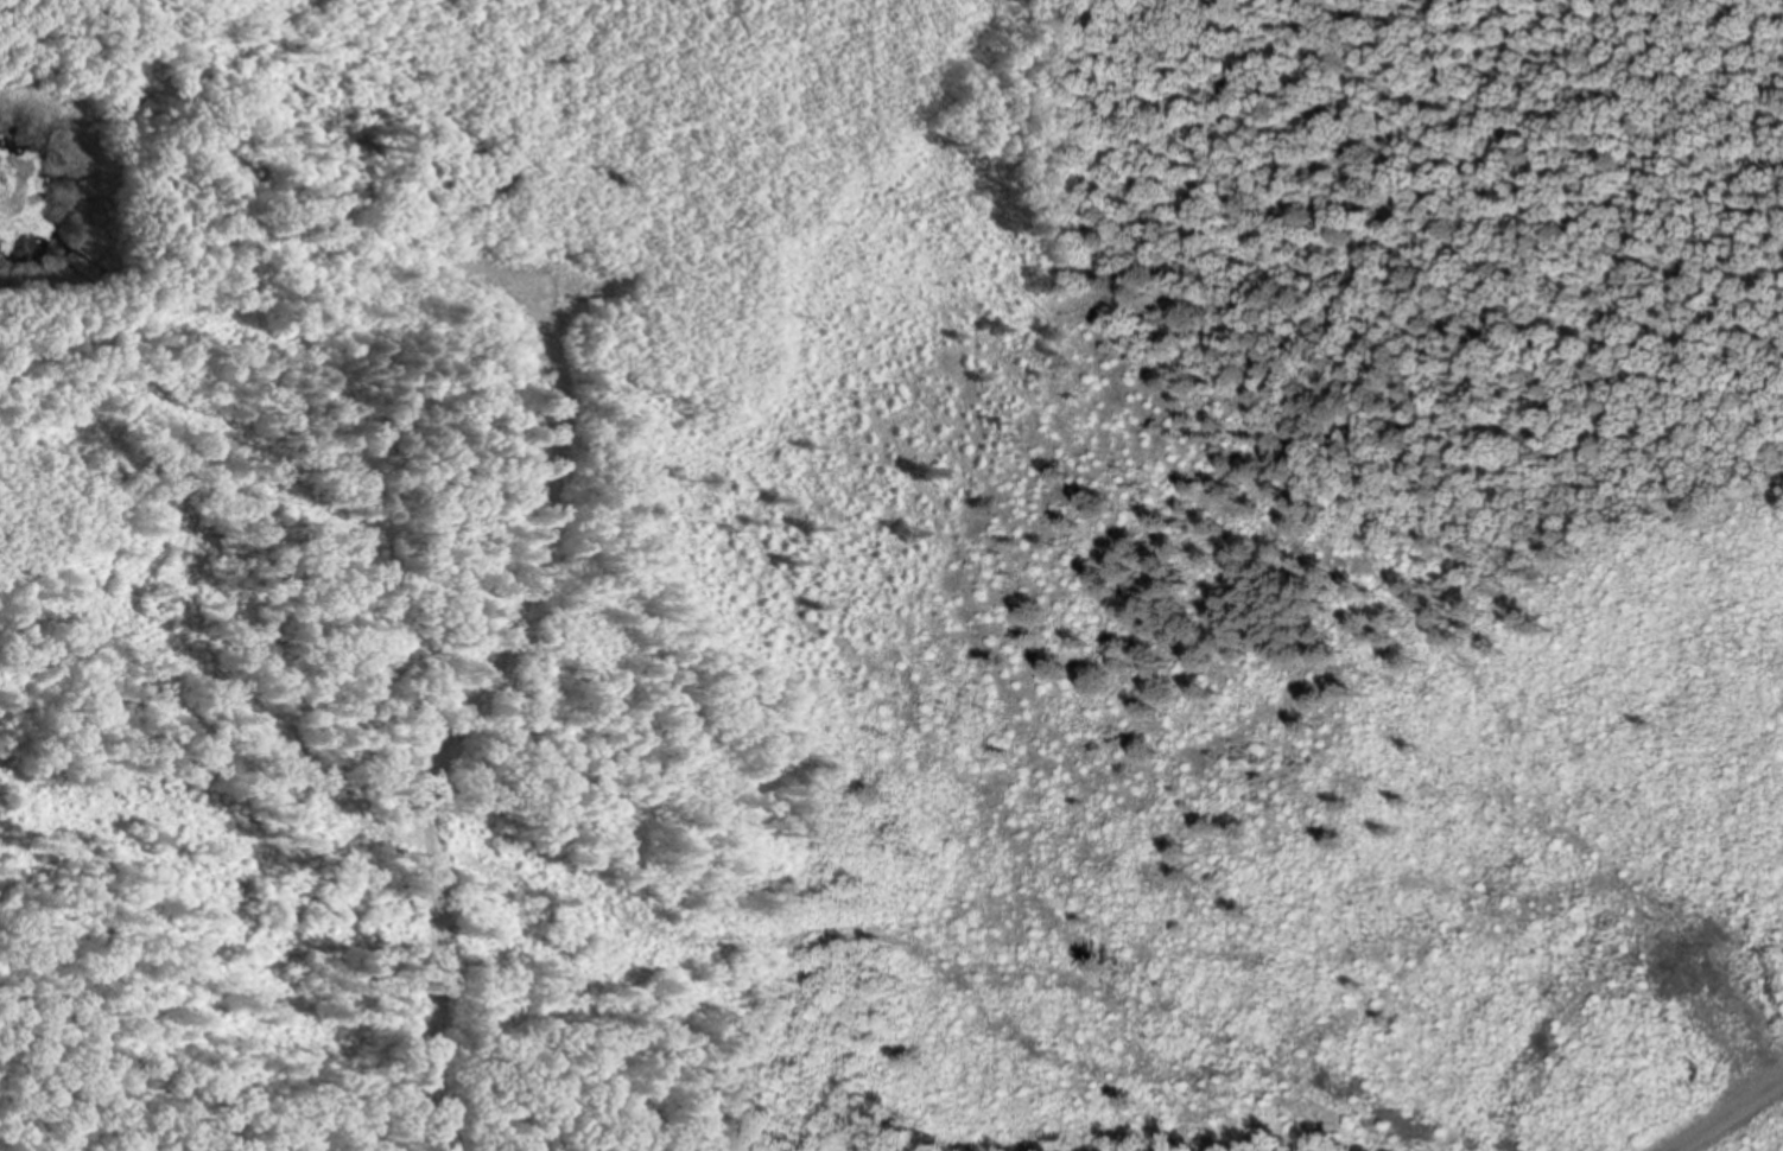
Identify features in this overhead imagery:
road: (1728, 1115)

